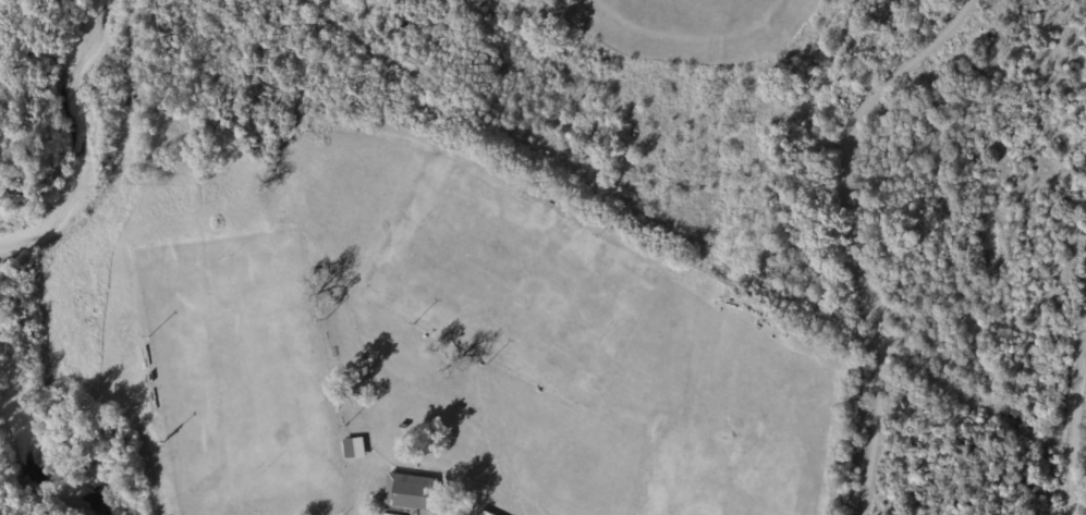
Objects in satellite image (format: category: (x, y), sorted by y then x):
park: (690, 23)
road: (855, 233)
park: (500, 278)
park: (391, 320)
park: (242, 375)
road: (1075, 432)
building: (350, 447)
road: (149, 473)
park: (720, 479)
building: (411, 492)
park: (1, 513)
building: (484, 513)

